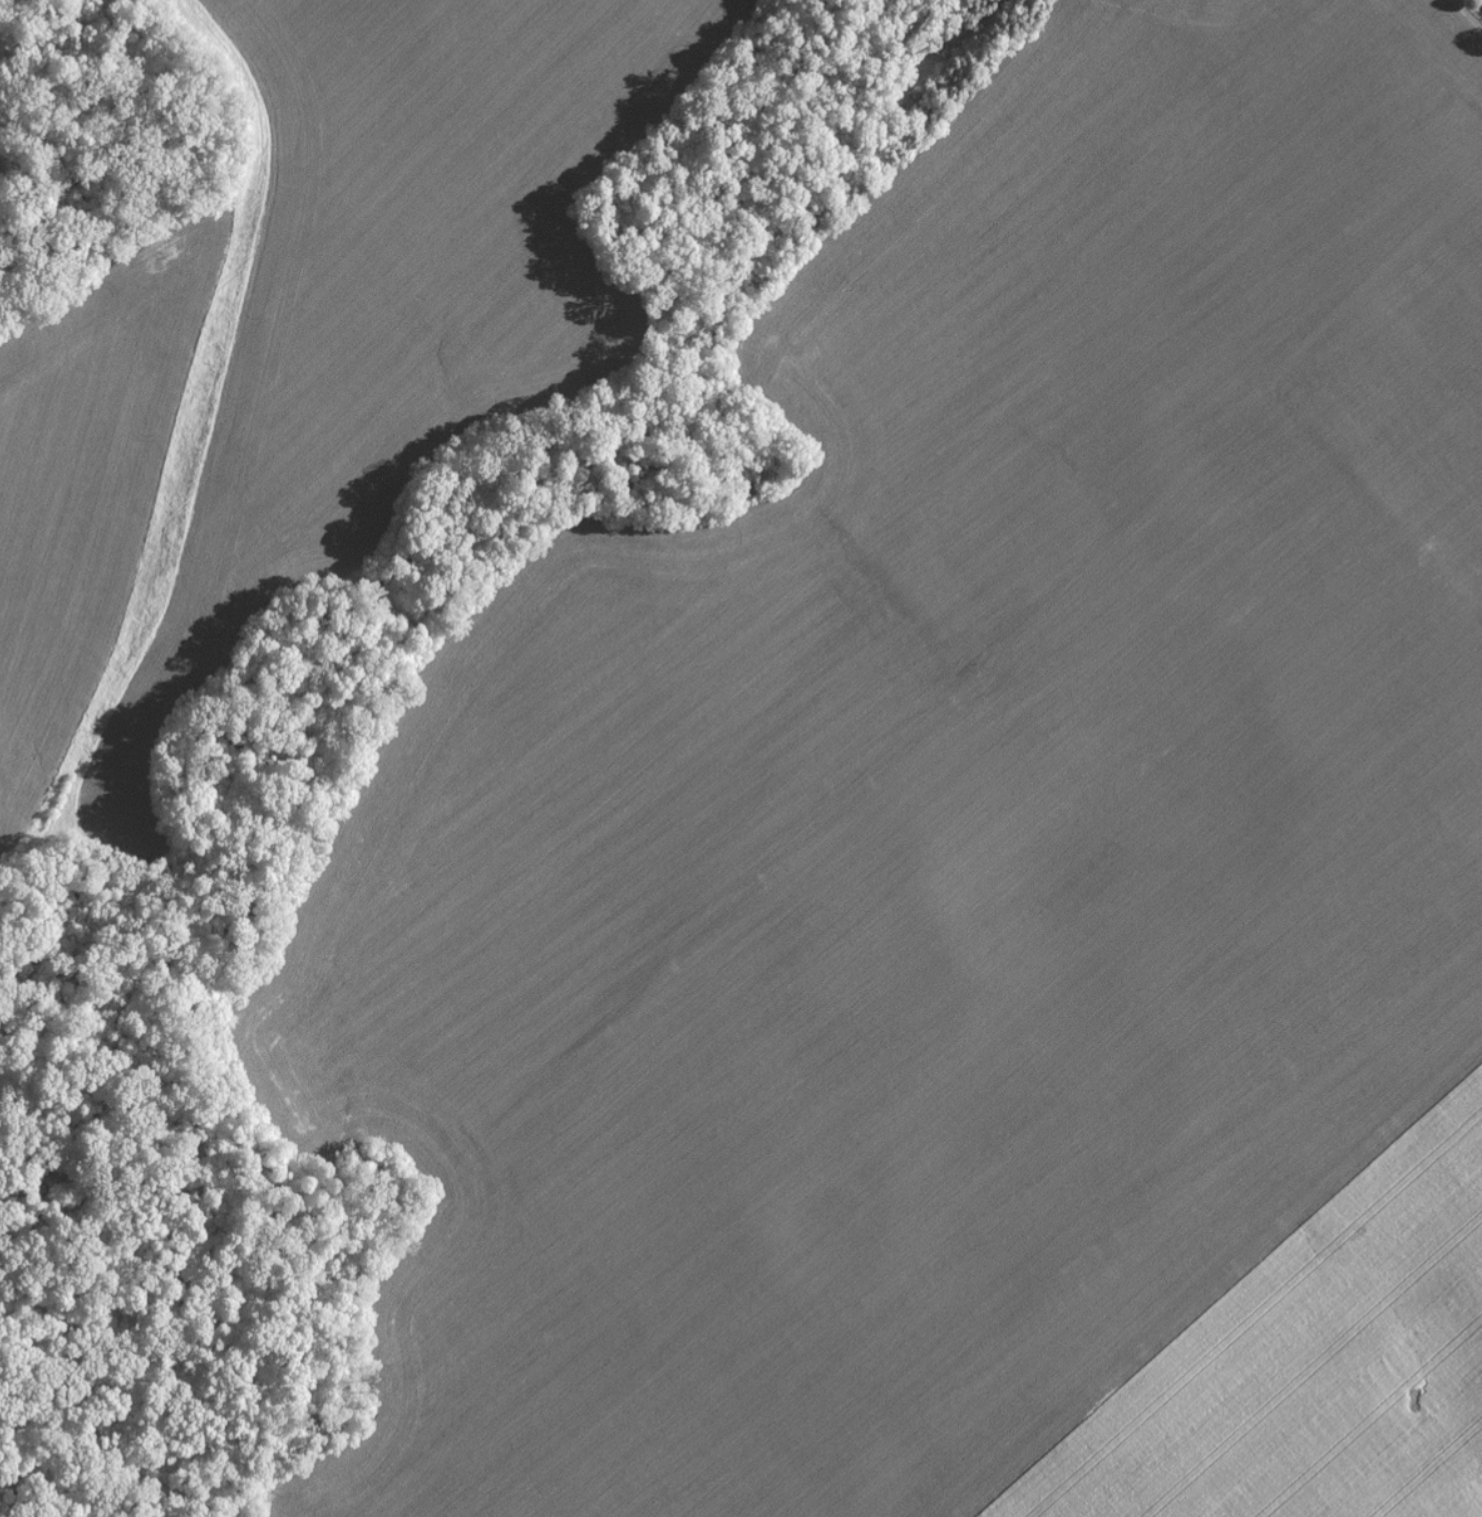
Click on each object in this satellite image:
road: (1468, 13)

